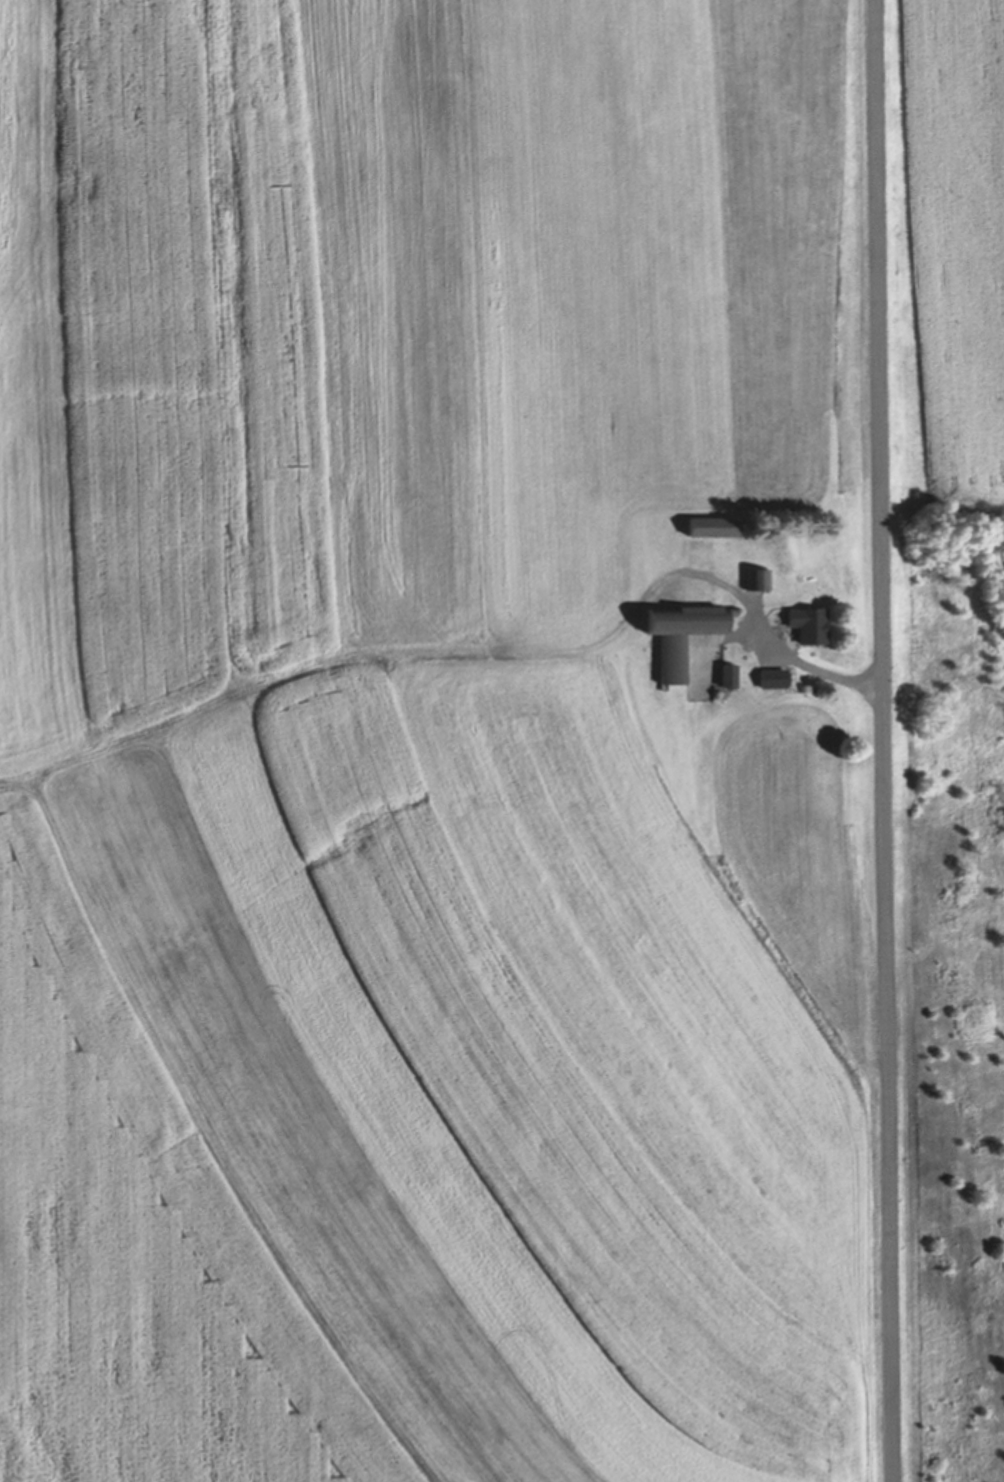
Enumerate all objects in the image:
building: (706, 528)
building: (752, 581)
building: (799, 627)
building: (676, 638)
road: (815, 671)
building: (724, 678)
building: (767, 681)
road: (884, 741)

